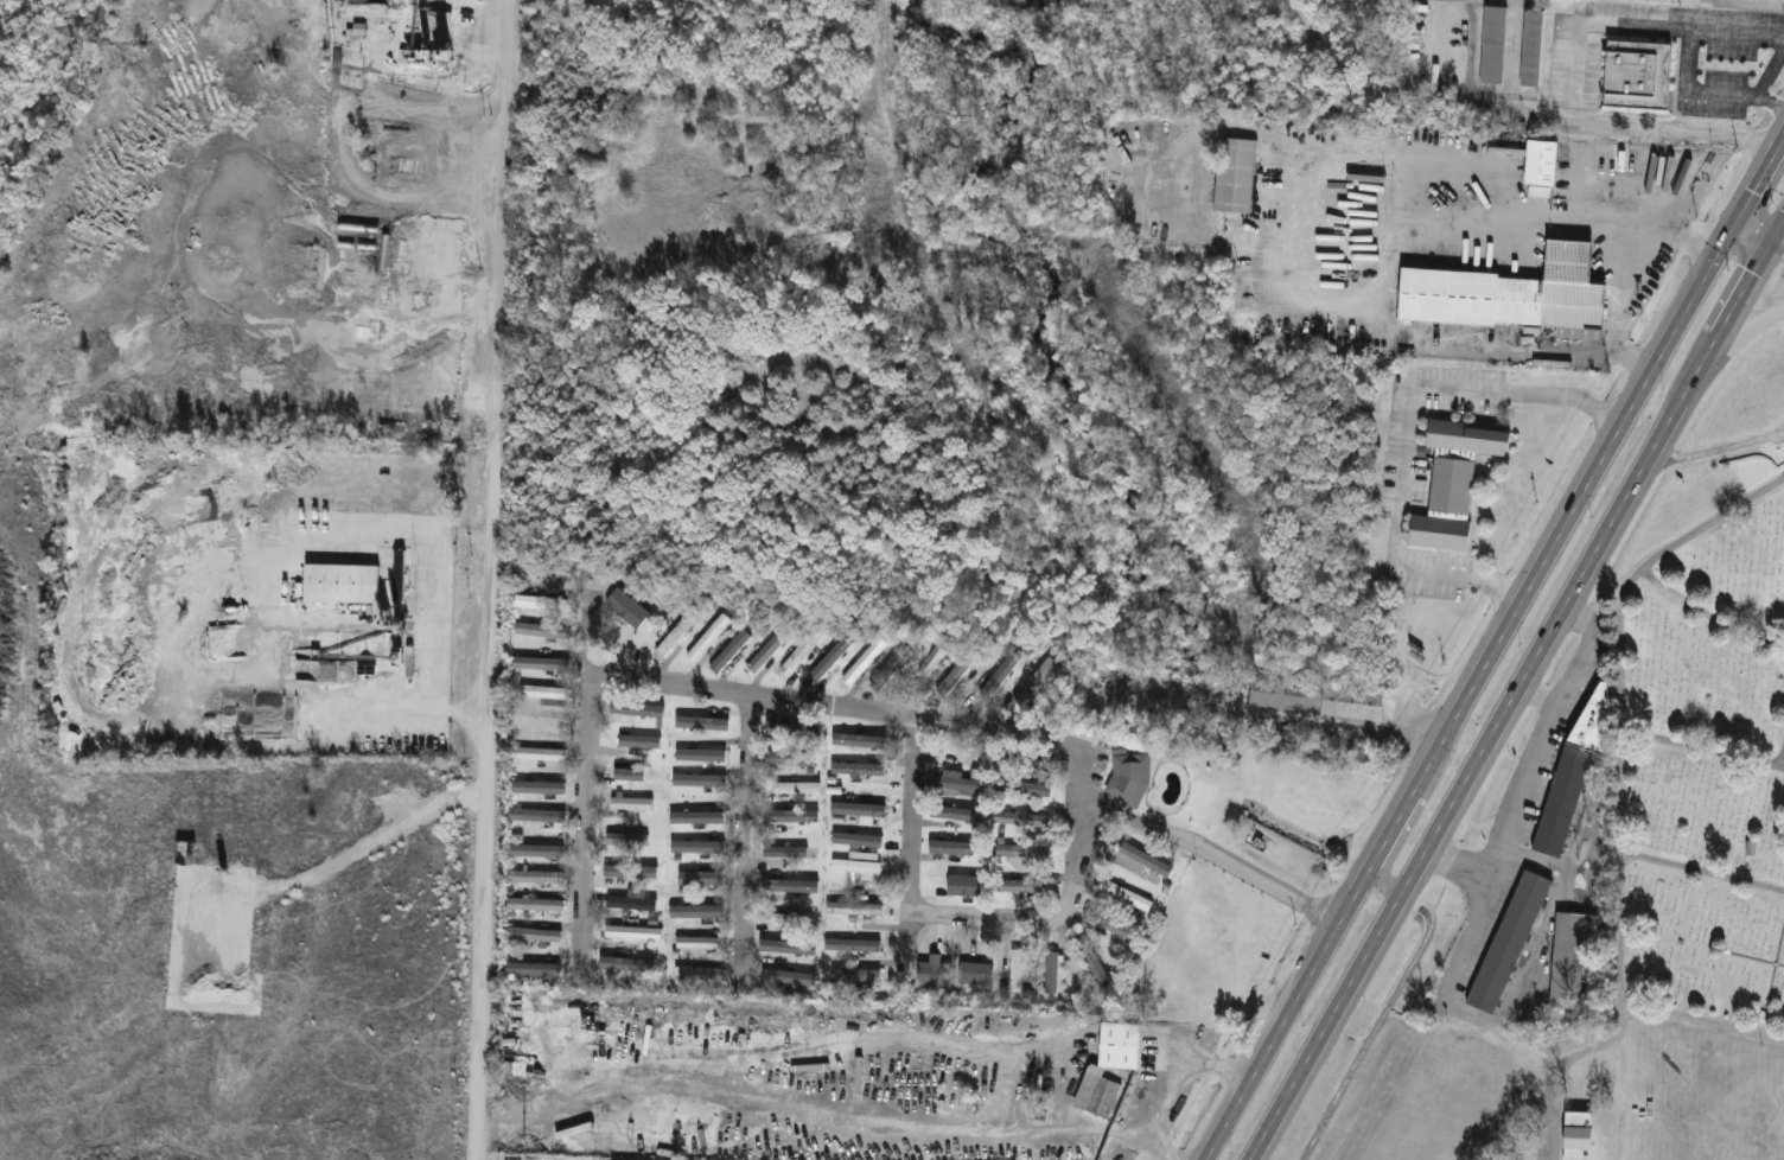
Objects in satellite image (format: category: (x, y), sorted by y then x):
building: (364, 1)
building: (1490, 45)
building: (1529, 47)
building: (1633, 76)
road: (1759, 78)
road: (1588, 128)
building: (1536, 164)
building: (1231, 176)
traffic signals: (1733, 225)
road: (1758, 238)
traffic signals: (1765, 243)
road: (1625, 270)
building: (1506, 295)
road: (1745, 316)
building: (389, 432)
building: (435, 435)
road: (1402, 435)
building: (1449, 480)
road: (488, 579)
building: (337, 584)
building: (540, 604)
building: (625, 608)
road: (425, 613)
building: (541, 631)
building: (673, 636)
building: (706, 637)
building: (731, 645)
road: (1493, 646)
road: (1574, 648)
building: (799, 651)
building: (861, 661)
building: (928, 662)
building: (539, 664)
building: (952, 675)
building: (982, 680)
building: (1033, 681)
road: (1516, 684)
building: (544, 695)
building: (1314, 699)
road: (836, 702)
building: (641, 712)
building: (537, 724)
building: (637, 741)
park: (1706, 742)
building: (536, 754)
building: (792, 758)
building: (1025, 760)
building: (1570, 767)
building: (862, 770)
building: (1124, 778)
building: (695, 780)
building: (951, 783)
road: (585, 785)
building: (792, 788)
building: (1019, 788)
road: (1511, 792)
building: (855, 802)
building: (629, 803)
building: (534, 816)
building: (1019, 820)
road: (744, 831)
road: (906, 839)
building: (625, 842)
building: (1017, 850)
building: (788, 853)
building: (1142, 860)
road: (1230, 862)
building: (856, 867)
building: (534, 878)
road: (1385, 879)
building: (1022, 886)
building: (1122, 897)
building: (533, 905)
road: (1064, 909)
building: (852, 910)
building: (605, 919)
building: (789, 919)
road: (1466, 928)
building: (535, 937)
building: (695, 943)
building: (1505, 943)
building: (849, 945)
building: (942, 958)
building: (1565, 958)
building: (635, 962)
building: (1015, 969)
building: (531, 970)
building: (1049, 974)
building: (973, 975)
building: (696, 976)
building: (853, 977)
building: (788, 979)
building: (1116, 1045)
road: (1167, 1084)
building: (1094, 1092)
road: (920, 1117)
building: (1574, 1136)

